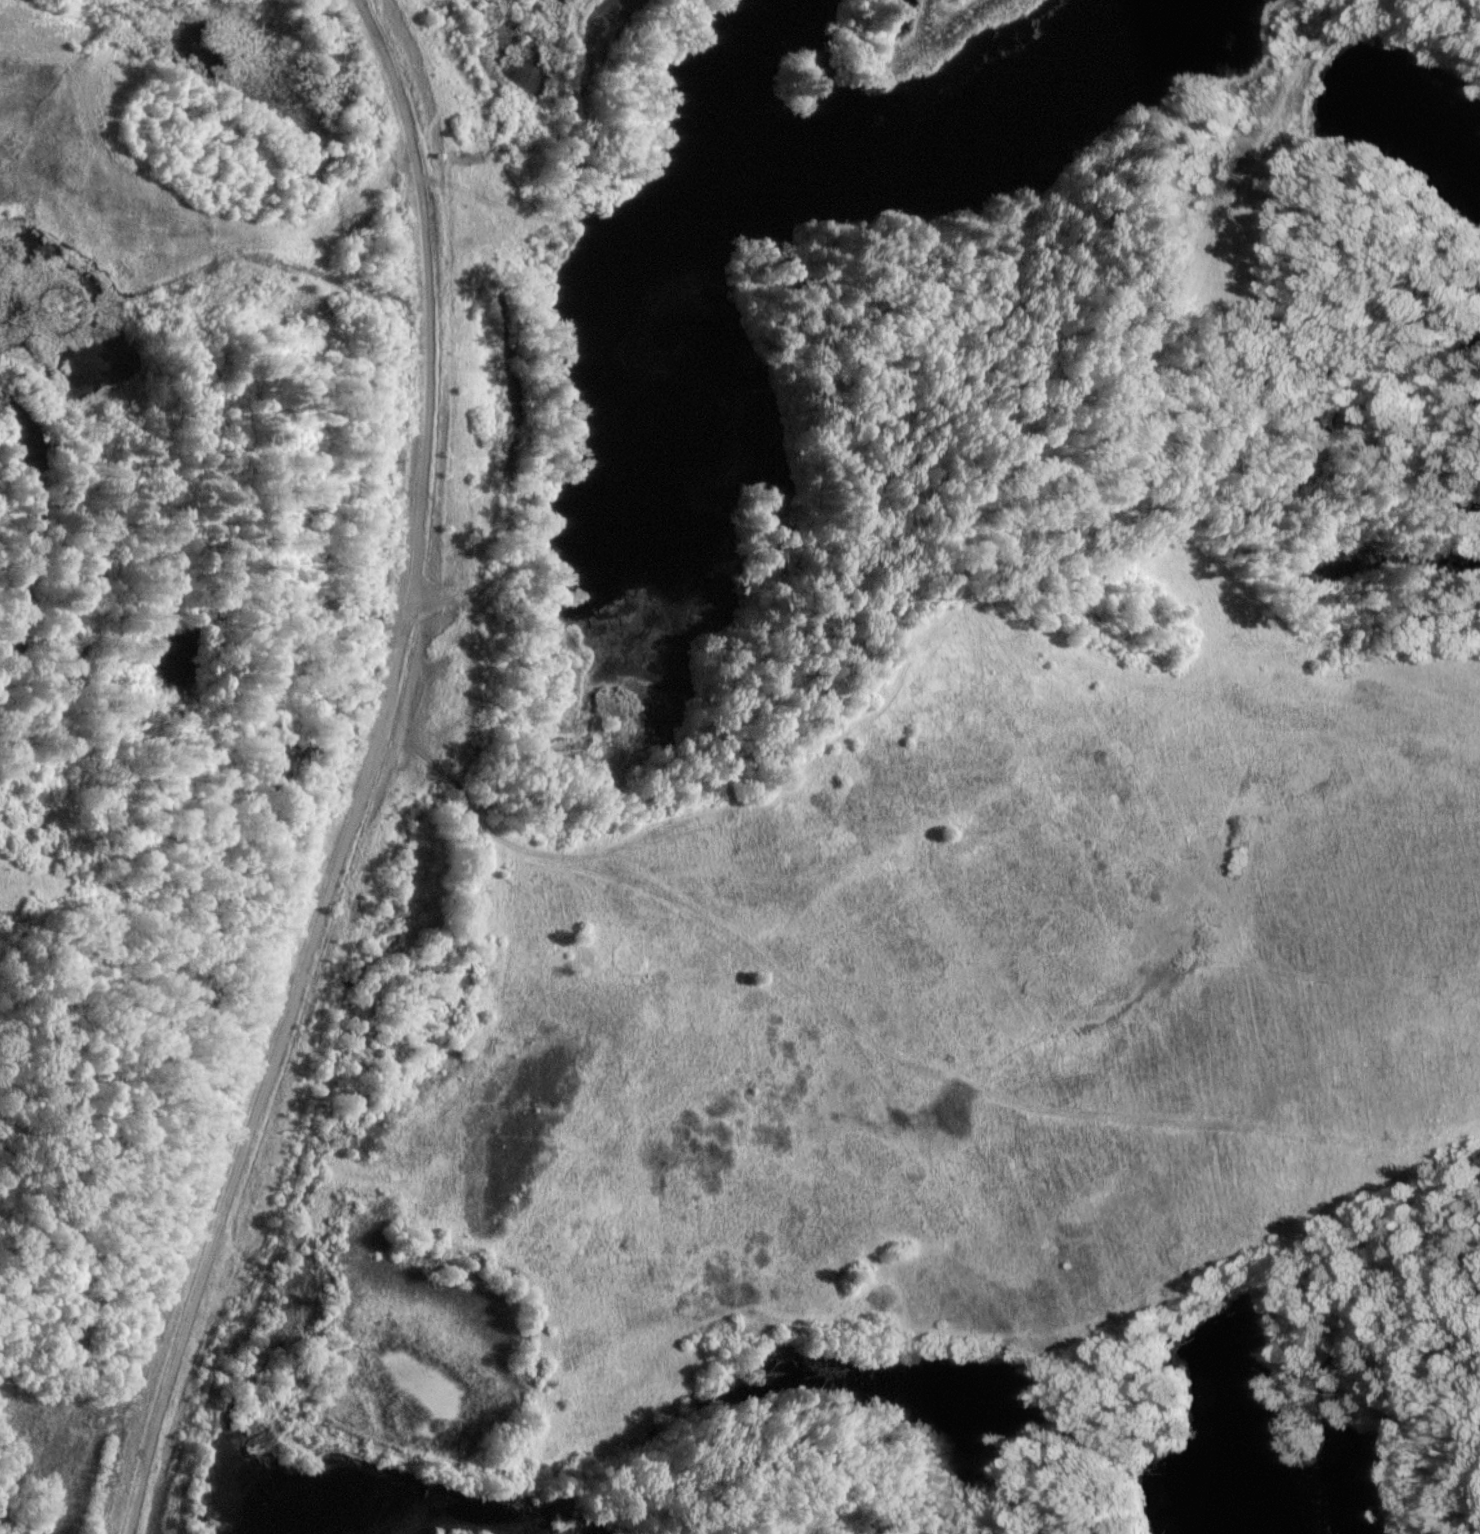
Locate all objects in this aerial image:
road: (365, 774)

